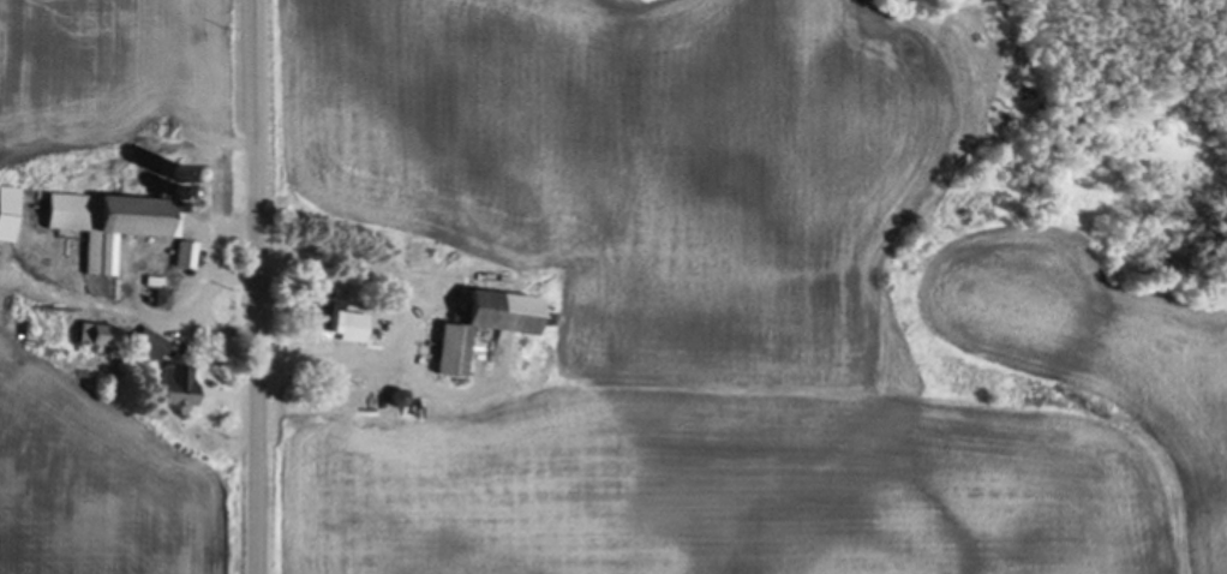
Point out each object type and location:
building: (6, 213)
building: (104, 225)
building: (180, 257)
road: (256, 286)
road: (400, 309)
building: (327, 318)
building: (475, 327)
building: (89, 337)
building: (142, 343)
building: (312, 397)

